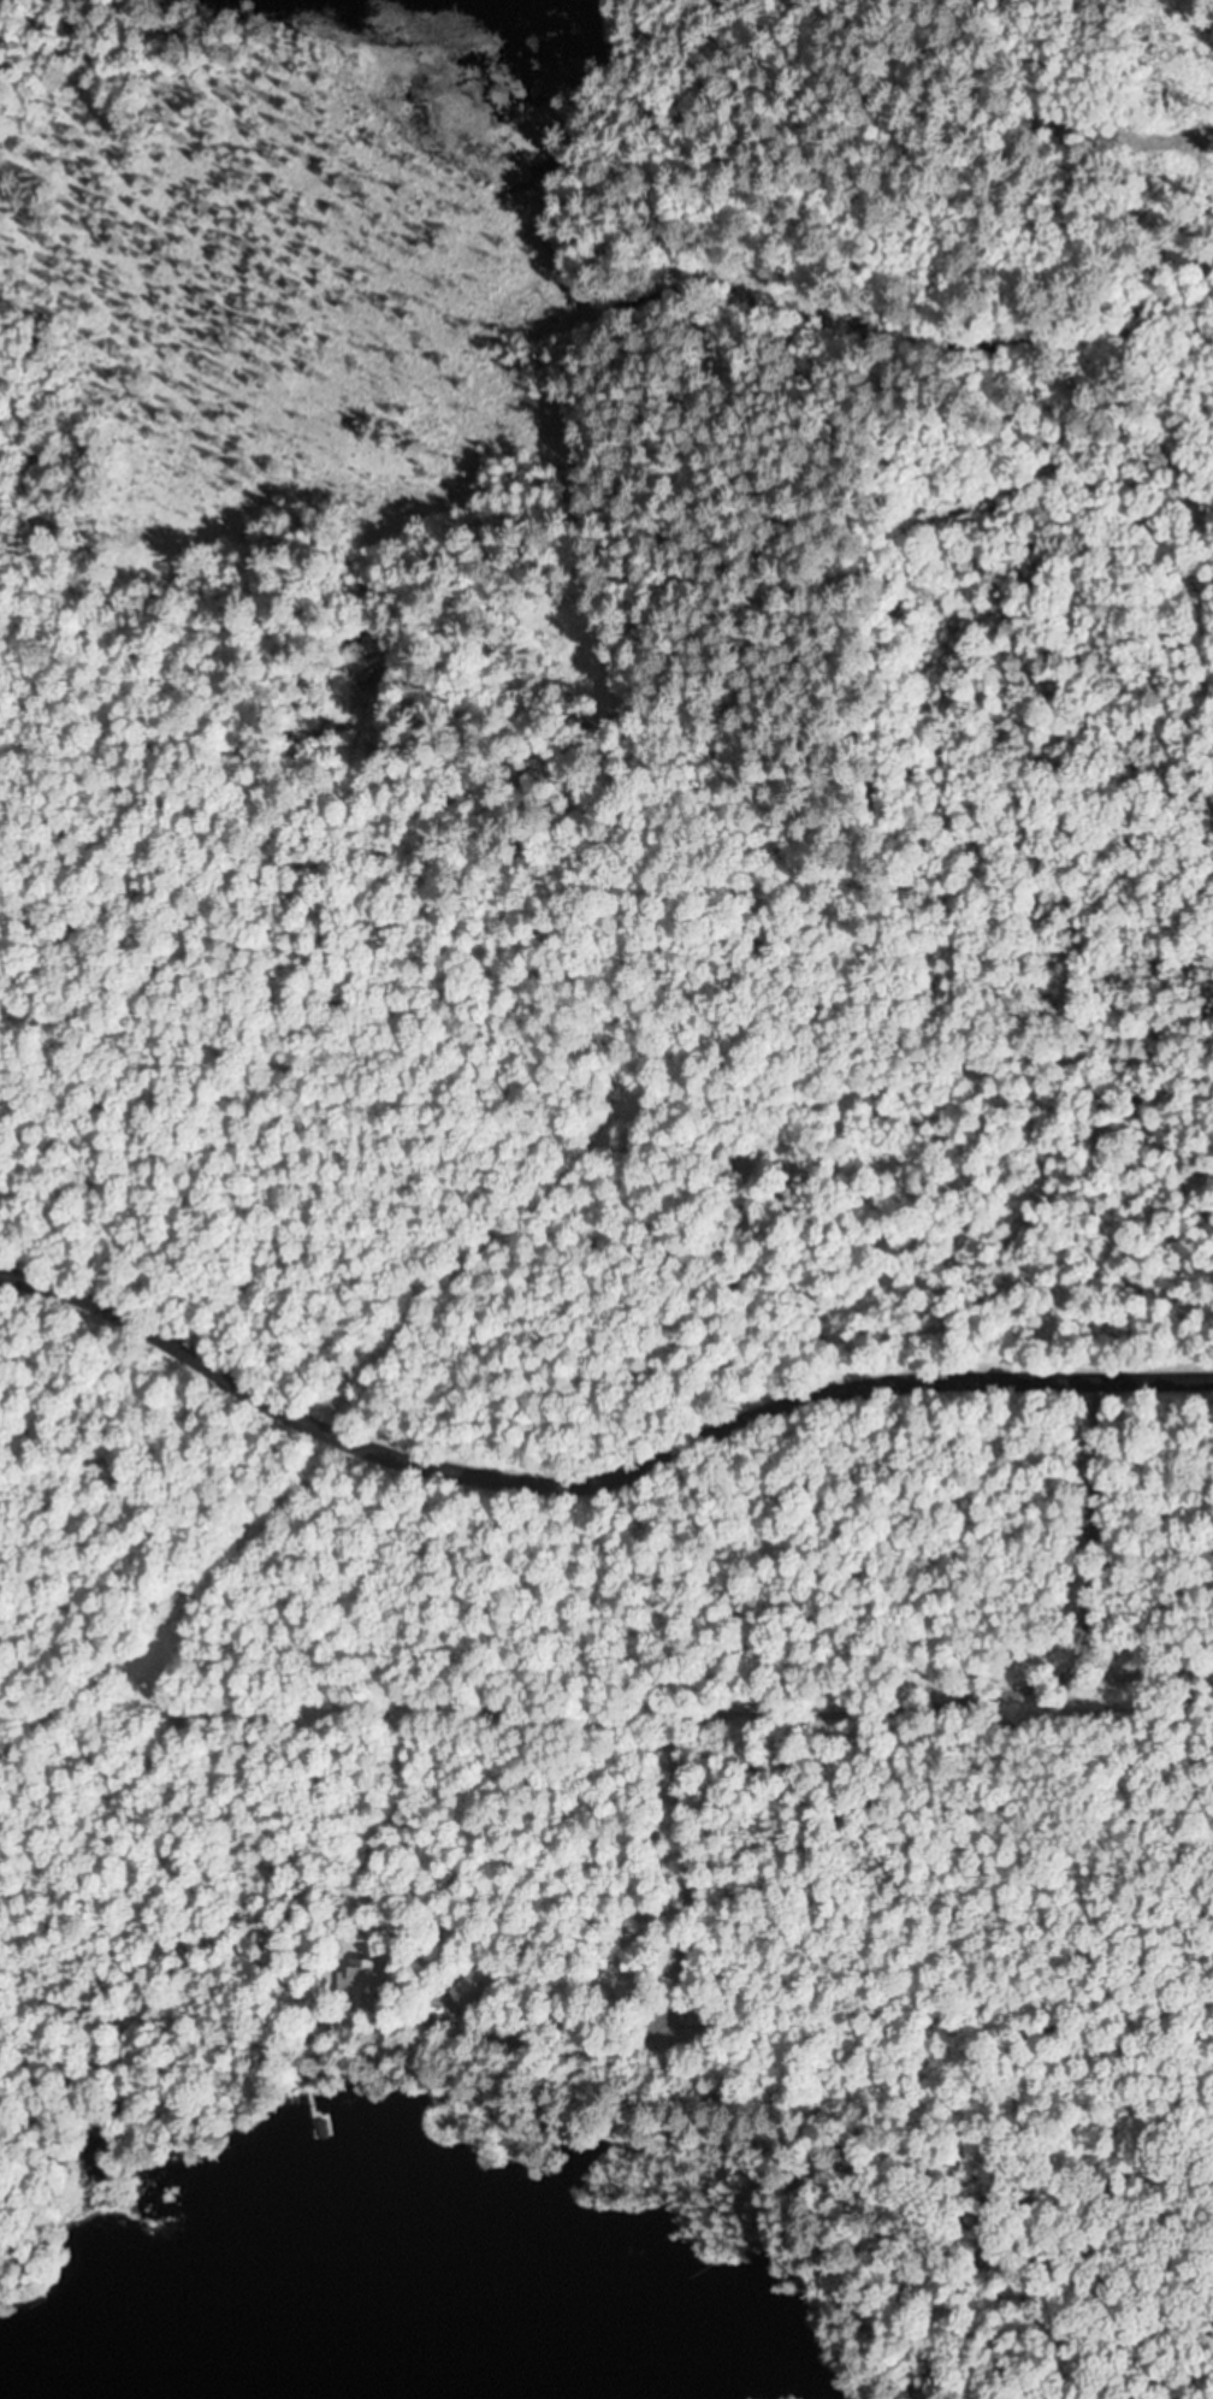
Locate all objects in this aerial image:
road: (726, 728)
road: (126, 1358)
road: (715, 1424)
road: (911, 1808)

